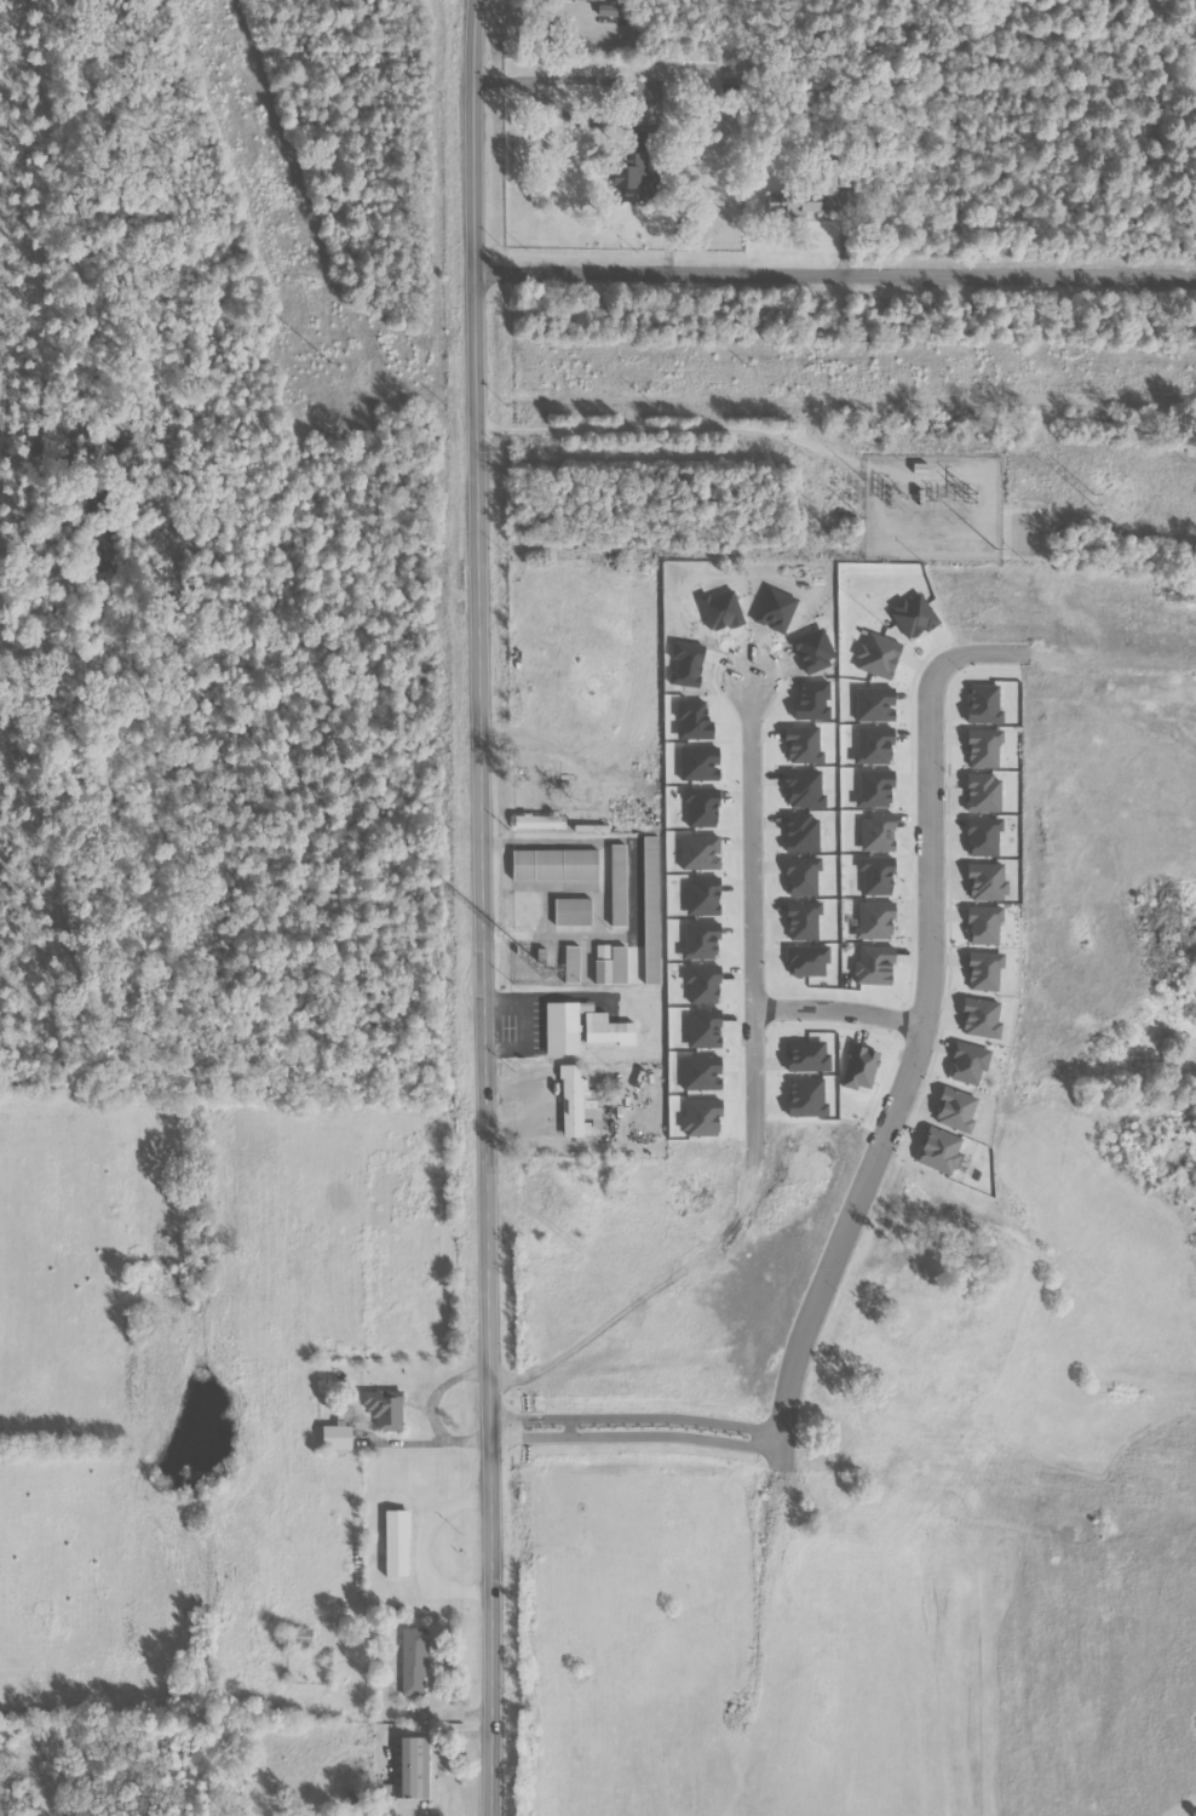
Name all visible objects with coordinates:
building: (588, 0)
building: (608, 10)
building: (633, 168)
building: (794, 202)
road: (836, 275)
power tower: (950, 487)
power tower: (1091, 495)
power substation: (933, 509)
building: (914, 615)
building: (878, 655)
building: (875, 704)
building: (983, 704)
building: (874, 745)
building: (983, 747)
building: (875, 789)
building: (983, 794)
building: (539, 821)
building: (876, 832)
building: (983, 837)
building: (700, 852)
building: (556, 865)
building: (876, 876)
building: (987, 882)
building: (619, 886)
building: (702, 896)
road: (484, 907)
building: (573, 911)
road: (757, 912)
building: (803, 921)
building: (874, 921)
building: (984, 926)
building: (701, 940)
building: (646, 941)
building: (807, 961)
building: (571, 964)
building: (611, 966)
building: (874, 966)
building: (984, 972)
building: (703, 984)
road: (843, 1012)
building: (981, 1019)
building: (581, 1027)
building: (703, 1030)
road: (925, 1037)
building: (807, 1056)
building: (968, 1064)
building: (859, 1067)
building: (701, 1073)
building: (807, 1096)
building: (577, 1104)
building: (956, 1110)
building: (702, 1117)
building: (941, 1151)
building: (385, 1410)
road: (636, 1427)
building: (337, 1437)
building: (396, 1542)
road: (424, 1549)
building: (301, 1639)
building: (414, 1662)
building: (410, 1769)

